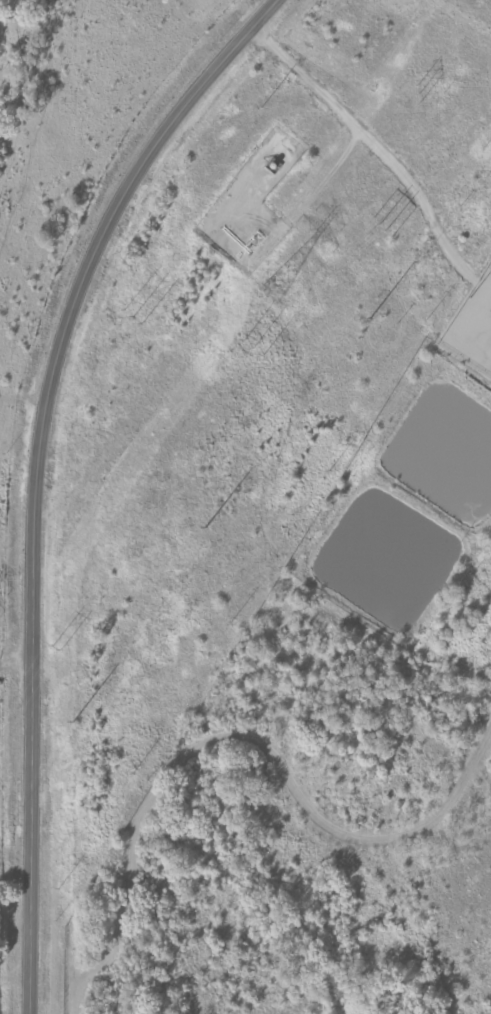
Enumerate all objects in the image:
power tower: (419, 93)
power tower: (262, 108)
power tower: (390, 228)
power tower: (275, 291)
power tower: (135, 316)
power tower: (369, 317)
power substation: (472, 325)
power tower: (262, 354)
road: (34, 471)
power tower: (205, 528)
power tower: (59, 648)
power tower: (74, 721)

